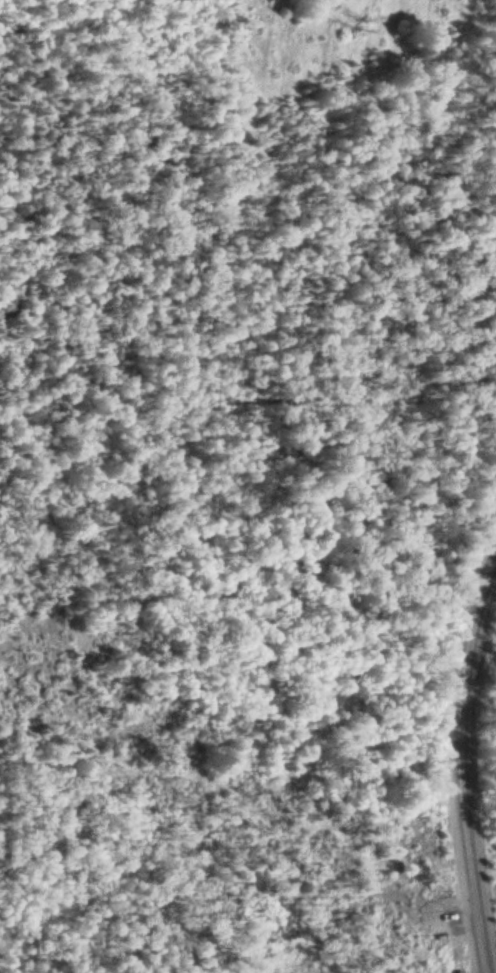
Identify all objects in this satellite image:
park: (116, 79)
quarry: (244, 932)

